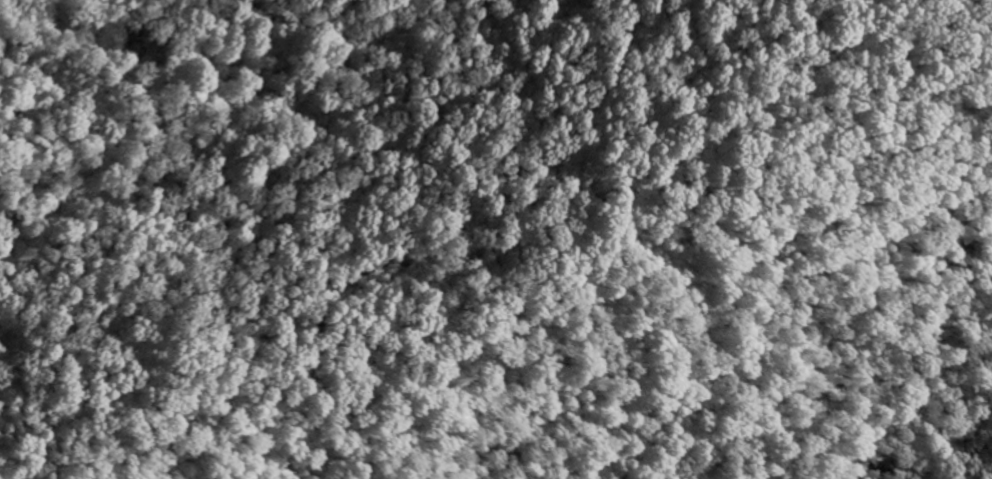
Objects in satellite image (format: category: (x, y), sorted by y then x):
road: (113, 100)

